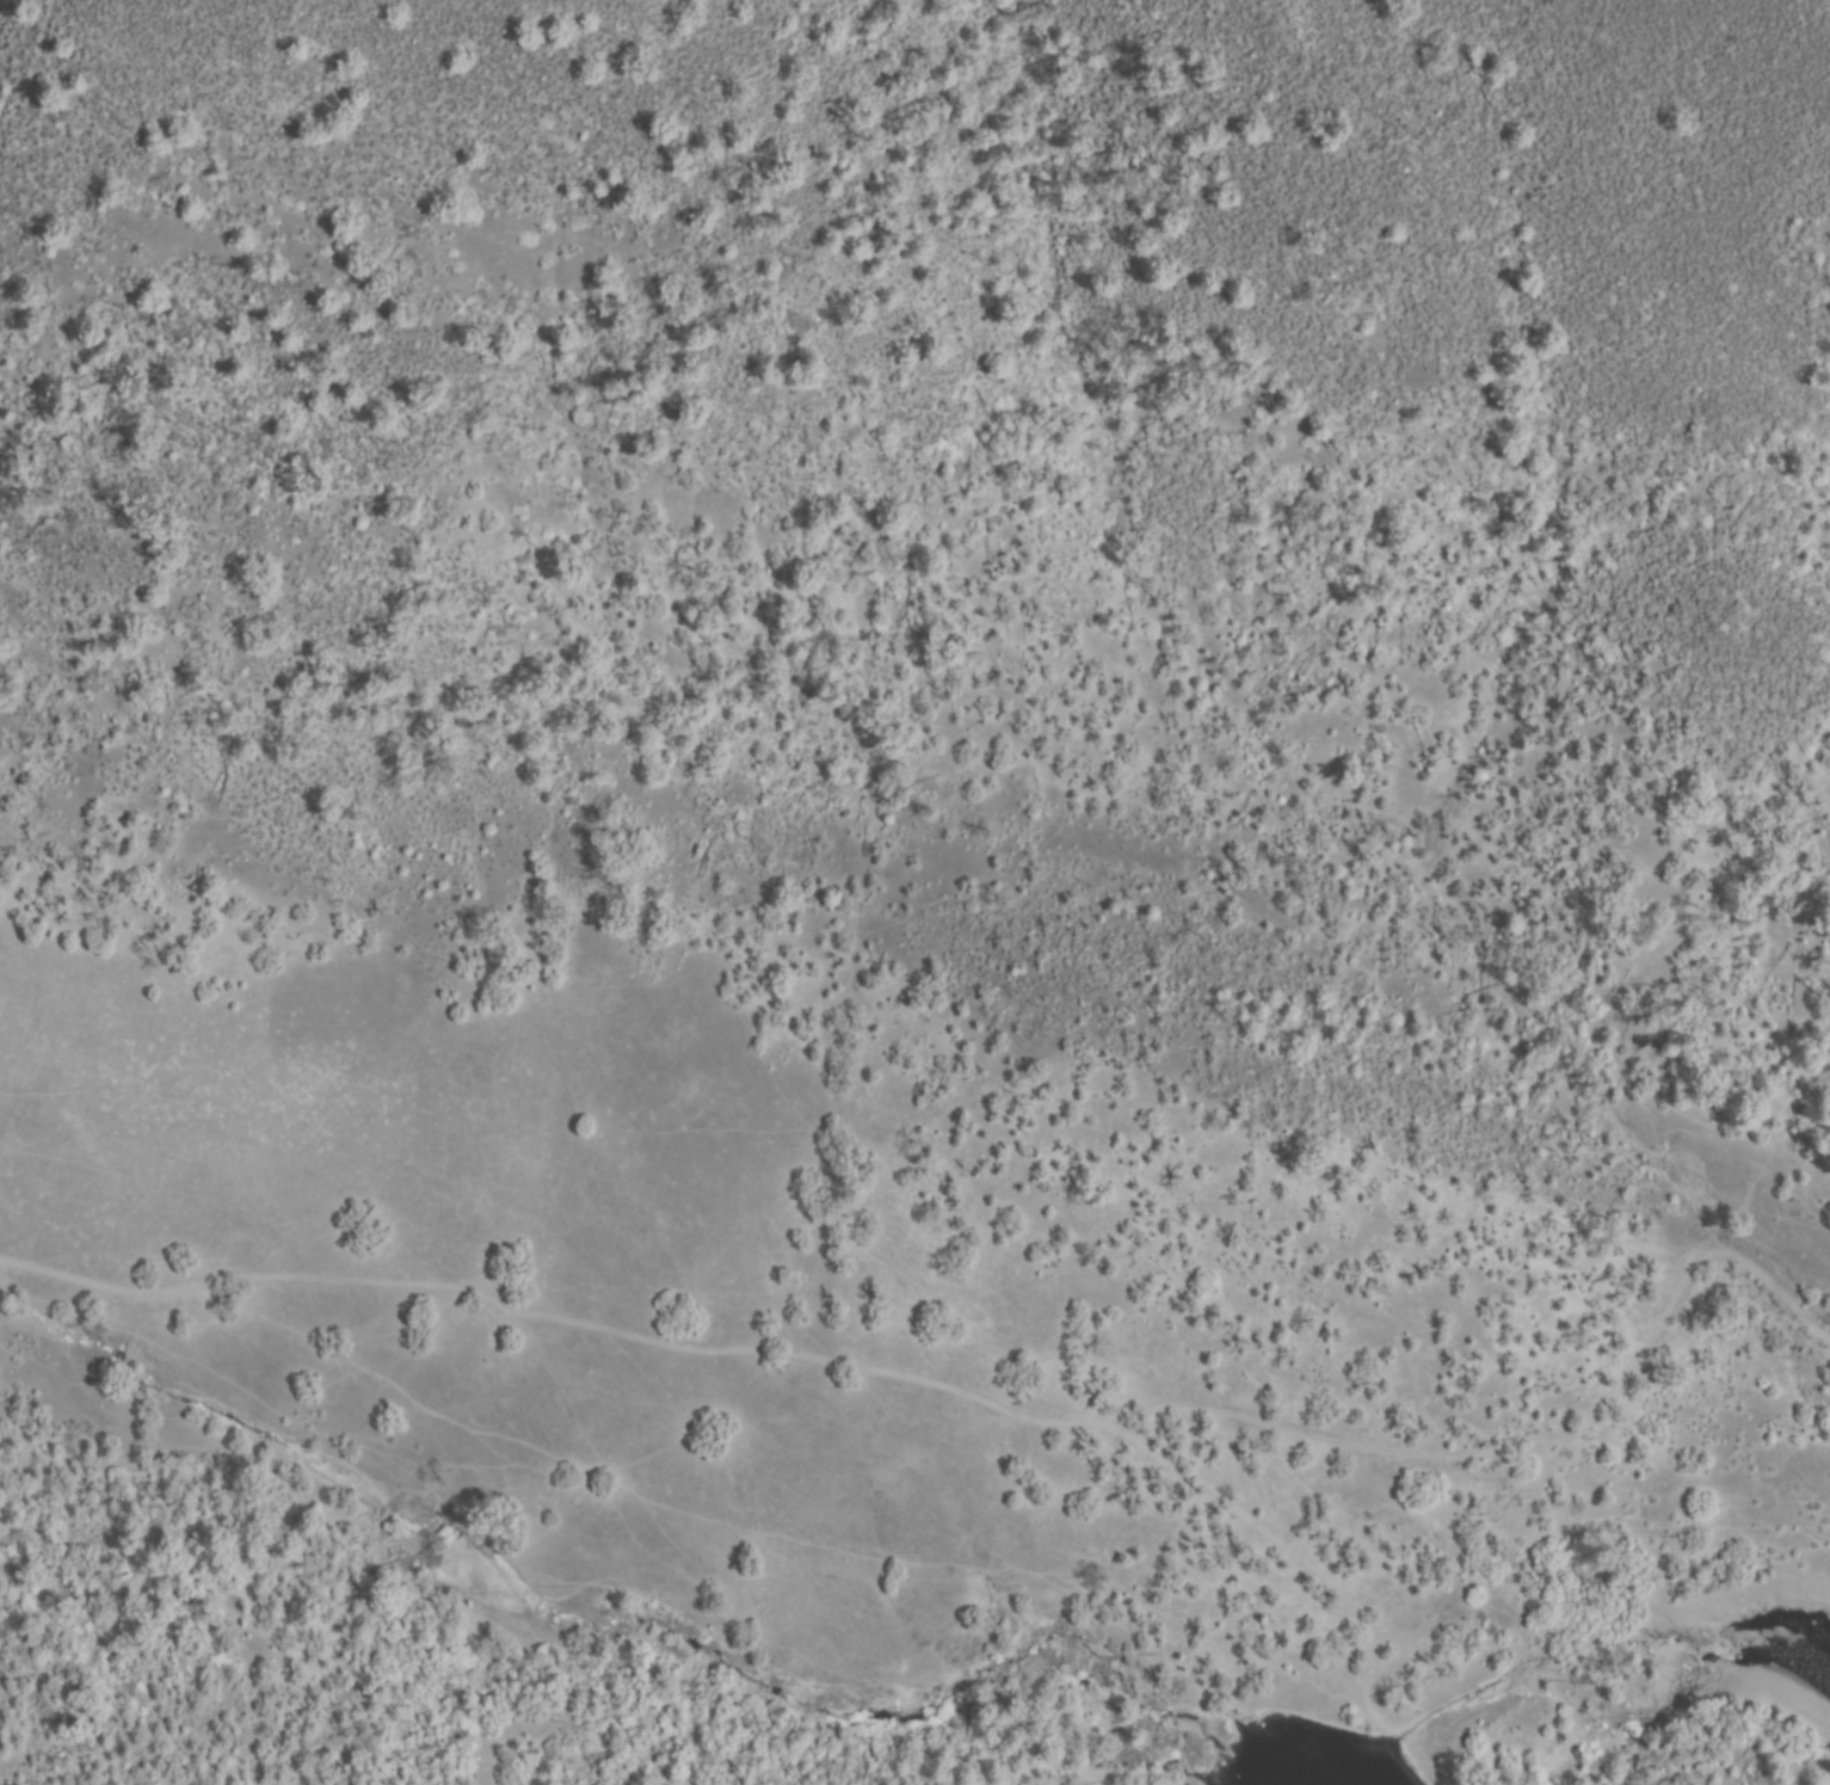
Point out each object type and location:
road: (966, 1389)

